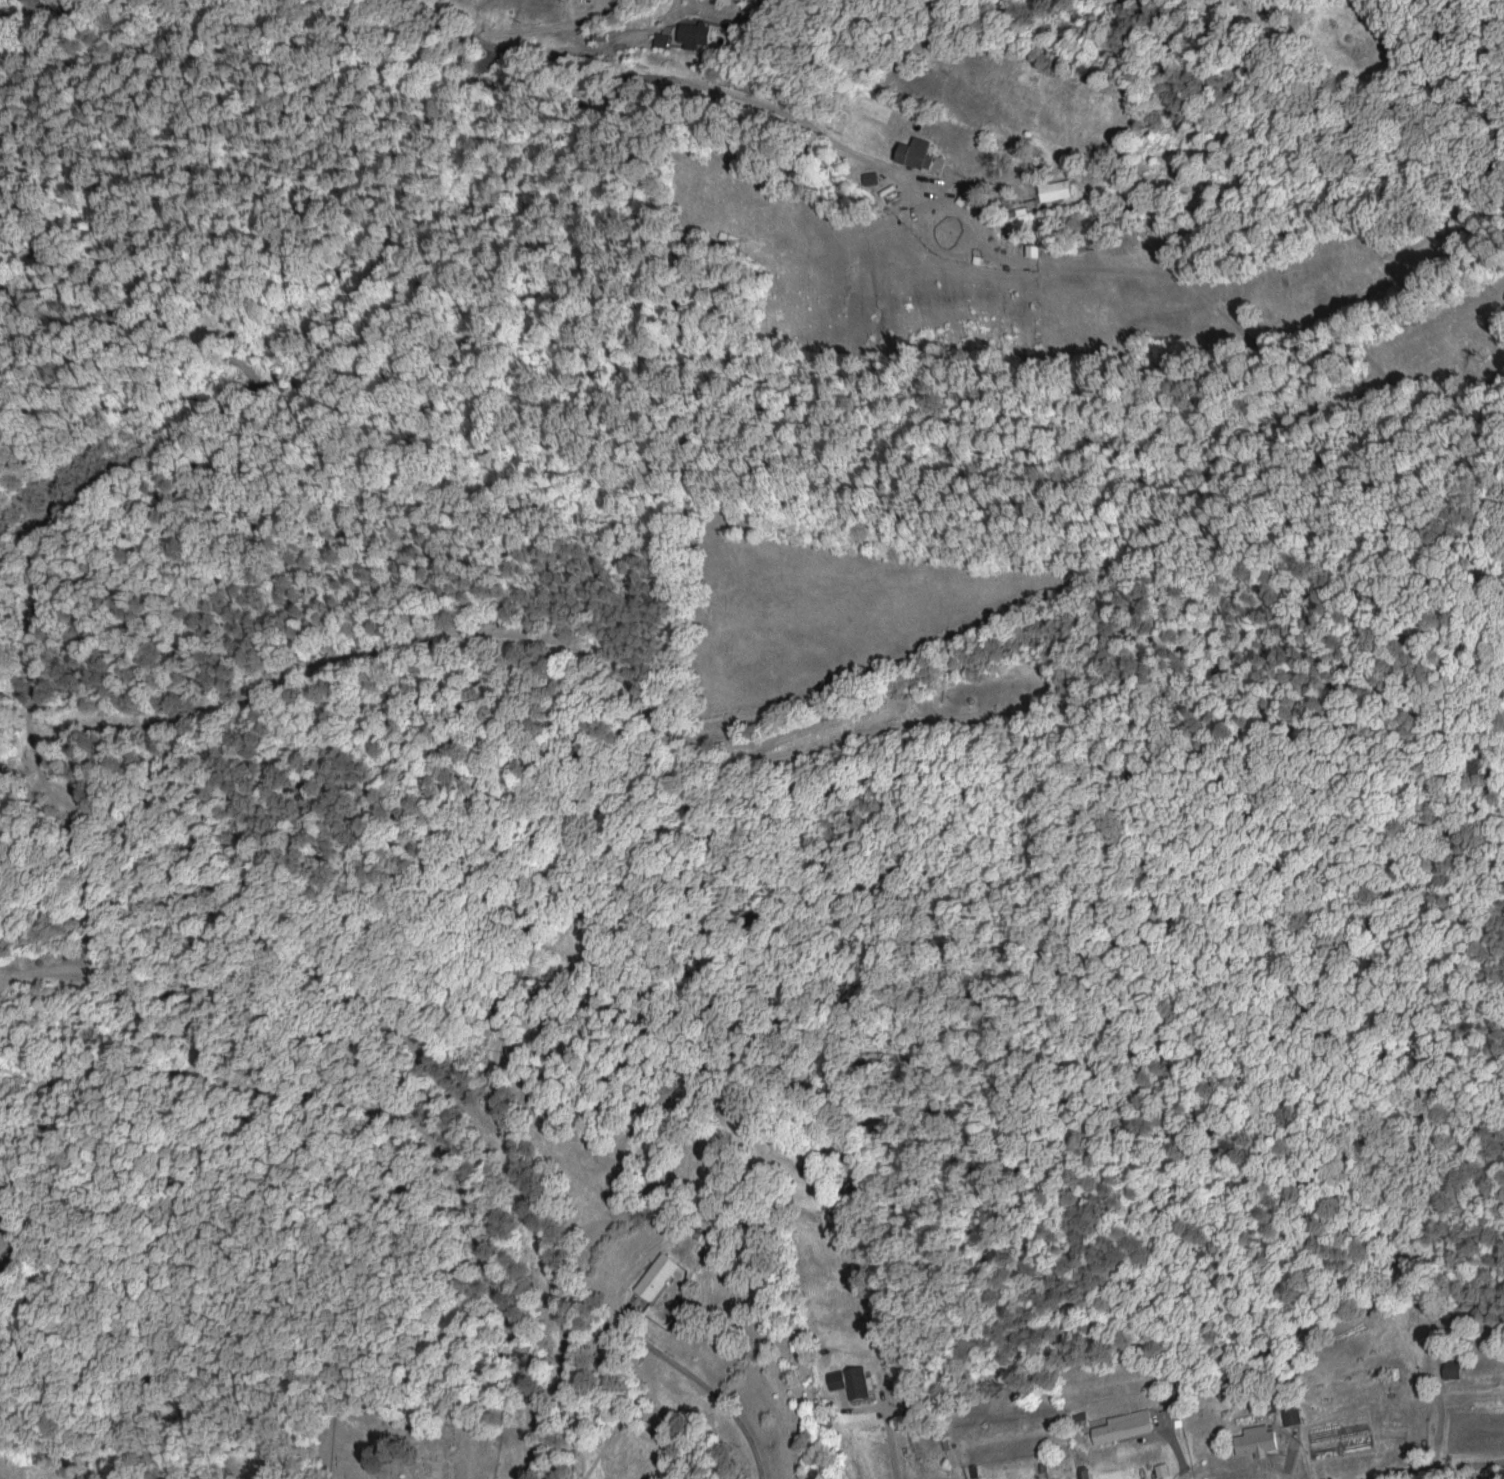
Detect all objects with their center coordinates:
building: (693, 34)
building: (492, 45)
road: (660, 56)
building: (916, 153)
building: (656, 1275)
road: (890, 1354)
road: (715, 1395)
building: (1123, 1425)
building: (1255, 1440)

